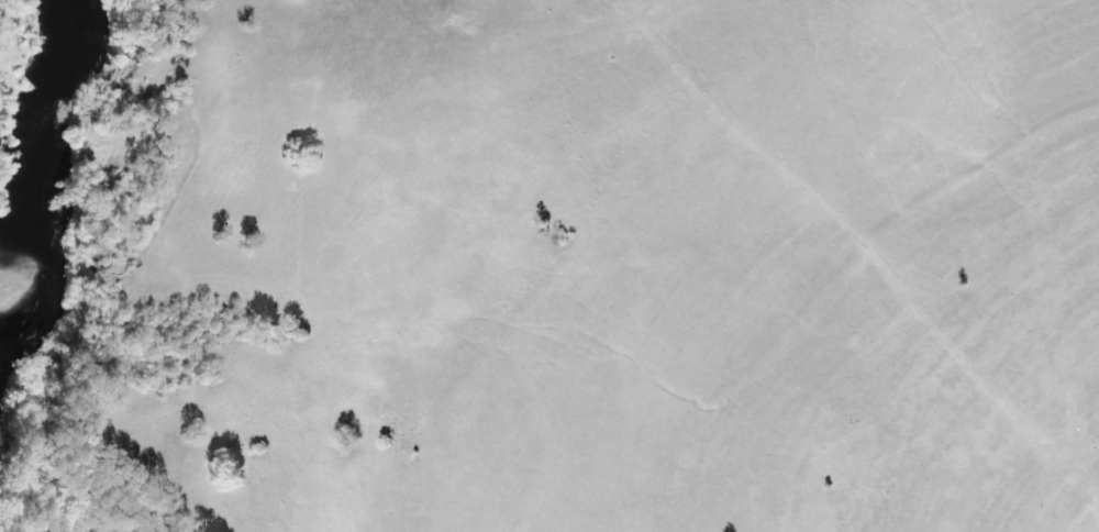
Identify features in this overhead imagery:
river: (49, 155)

